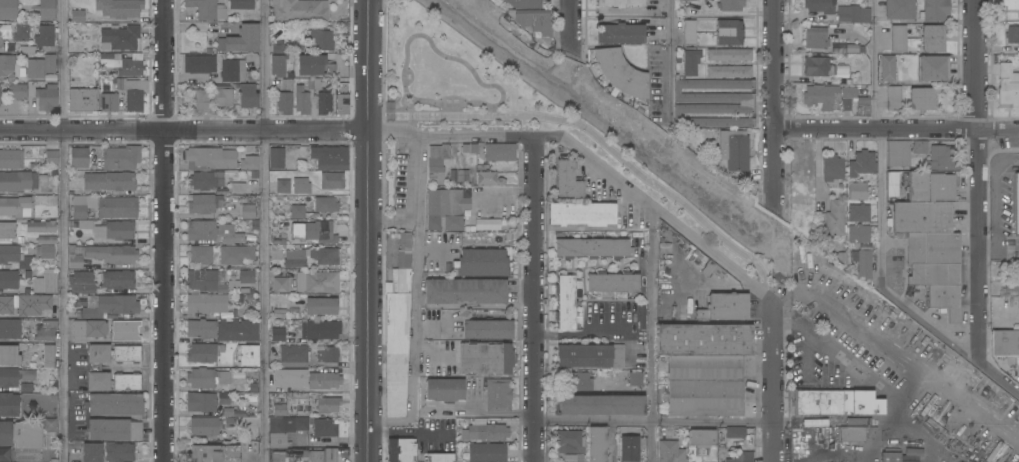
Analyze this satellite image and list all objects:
building: (688, 0)
building: (620, 3)
building: (241, 4)
building: (525, 4)
building: (1010, 4)
building: (731, 5)
building: (820, 6)
building: (119, 8)
building: (8, 9)
building: (899, 9)
building: (46, 10)
building: (207, 10)
building: (300, 10)
building: (935, 10)
building: (855, 12)
building: (77, 17)
building: (536, 21)
road: (570, 22)
building: (689, 32)
building: (729, 32)
building: (21, 33)
building: (2, 34)
building: (620, 34)
building: (1012, 35)
building: (44, 37)
building: (121, 37)
building: (321, 38)
building: (816, 38)
building: (898, 39)
building: (933, 39)
building: (240, 40)
road: (432, 46)
building: (854, 49)
building: (729, 55)
building: (279, 60)
road: (671, 60)
building: (691, 62)
building: (124, 64)
building: (200, 64)
road: (874, 64)
road: (975, 64)
road: (163, 65)
building: (7, 66)
building: (314, 66)
building: (818, 67)
building: (933, 68)
building: (42, 69)
building: (888, 69)
building: (233, 70)
building: (729, 72)
building: (621, 73)
building: (1008, 88)
building: (18, 91)
building: (132, 93)
building: (322, 94)
building: (223, 96)
building: (247, 96)
building: (820, 97)
building: (46, 98)
building: (285, 98)
building: (893, 98)
building: (341, 99)
building: (923, 99)
building: (82, 100)
building: (302, 100)
building: (202, 102)
building: (109, 103)
road: (437, 103)
building: (745, 104)
road: (774, 104)
building: (846, 105)
road: (383, 111)
road: (525, 126)
road: (875, 128)
road: (391, 129)
road: (998, 129)
road: (81, 130)
road: (264, 130)
road: (488, 137)
road: (602, 143)
building: (920, 147)
building: (734, 150)
building: (500, 152)
building: (898, 153)
building: (52, 157)
building: (79, 158)
building: (121, 158)
building: (277, 158)
building: (330, 158)
building: (943, 158)
building: (11, 159)
building: (209, 159)
building: (248, 163)
building: (437, 164)
building: (862, 164)
building: (832, 167)
building: (458, 176)
building: (487, 179)
building: (206, 180)
building: (18, 181)
building: (332, 181)
building: (568, 181)
building: (109, 182)
building: (891, 184)
building: (301, 186)
building: (283, 187)
building: (929, 187)
building: (857, 191)
road: (416, 203)
building: (1016, 203)
building: (205, 204)
building: (326, 205)
building: (14, 206)
building: (114, 207)
building: (79, 208)
road: (880, 208)
building: (445, 210)
building: (248, 212)
building: (297, 212)
building: (859, 213)
building: (582, 214)
building: (922, 218)
road: (667, 219)
building: (835, 219)
railway: (734, 221)
building: (488, 224)
building: (40, 227)
road: (63, 230)
road: (264, 230)
road: (367, 230)
building: (7, 231)
building: (120, 231)
building: (201, 231)
building: (313, 233)
building: (859, 234)
building: (233, 239)
building: (46, 240)
road: (977, 245)
building: (592, 249)
building: (45, 252)
building: (102, 255)
building: (236, 255)
building: (201, 256)
building: (311, 257)
building: (16, 259)
building: (483, 263)
building: (864, 265)
building: (936, 269)
building: (243, 279)
building: (9, 280)
building: (118, 280)
building: (1012, 281)
building: (205, 282)
building: (46, 283)
building: (321, 283)
building: (613, 283)
building: (81, 284)
building: (281, 285)
building: (465, 291)
road: (163, 296)
road: (533, 299)
building: (206, 303)
building: (565, 303)
building: (33, 305)
building: (6, 306)
building: (107, 307)
building: (321, 307)
building: (724, 307)
building: (280, 314)
building: (642, 317)
road: (456, 321)
building: (997, 324)
road: (928, 325)
building: (10, 329)
building: (201, 329)
building: (88, 330)
building: (322, 330)
building: (487, 330)
building: (45, 331)
building: (125, 331)
building: (235, 331)
building: (397, 331)
road: (803, 333)
road: (593, 334)
building: (278, 335)
road: (651, 335)
building: (704, 340)
road: (413, 341)
building: (1006, 345)
building: (204, 353)
building: (127, 354)
building: (294, 354)
road: (885, 354)
building: (248, 355)
building: (329, 355)
building: (9, 356)
building: (591, 356)
building: (49, 357)
building: (485, 359)
building: (98, 367)
building: (15, 377)
building: (207, 378)
building: (290, 378)
road: (998, 378)
building: (635, 380)
building: (323, 381)
building: (575, 382)
road: (773, 382)
building: (127, 383)
building: (704, 386)
building: (445, 390)
building: (499, 395)
building: (201, 402)
building: (225, 403)
building: (279, 404)
building: (836, 404)
building: (9, 405)
building: (115, 405)
building: (328, 405)
building: (600, 405)
building: (302, 406)
building: (229, 413)
road: (480, 414)
road: (592, 418)
road: (711, 421)
building: (858, 422)
building: (230, 424)
building: (205, 426)
building: (324, 428)
building: (285, 429)
building: (114, 431)
building: (484, 431)
building: (735, 432)
road: (410, 433)
building: (852, 434)
building: (21, 435)
building: (702, 438)
building: (570, 442)
building: (597, 444)
building: (629, 449)
building: (401, 450)
building: (107, 452)
building: (670, 452)
building: (487, 453)
building: (214, 454)
building: (308, 456)
building: (743, 457)
building: (890, 457)
building: (440, 458)
building: (573, 458)

